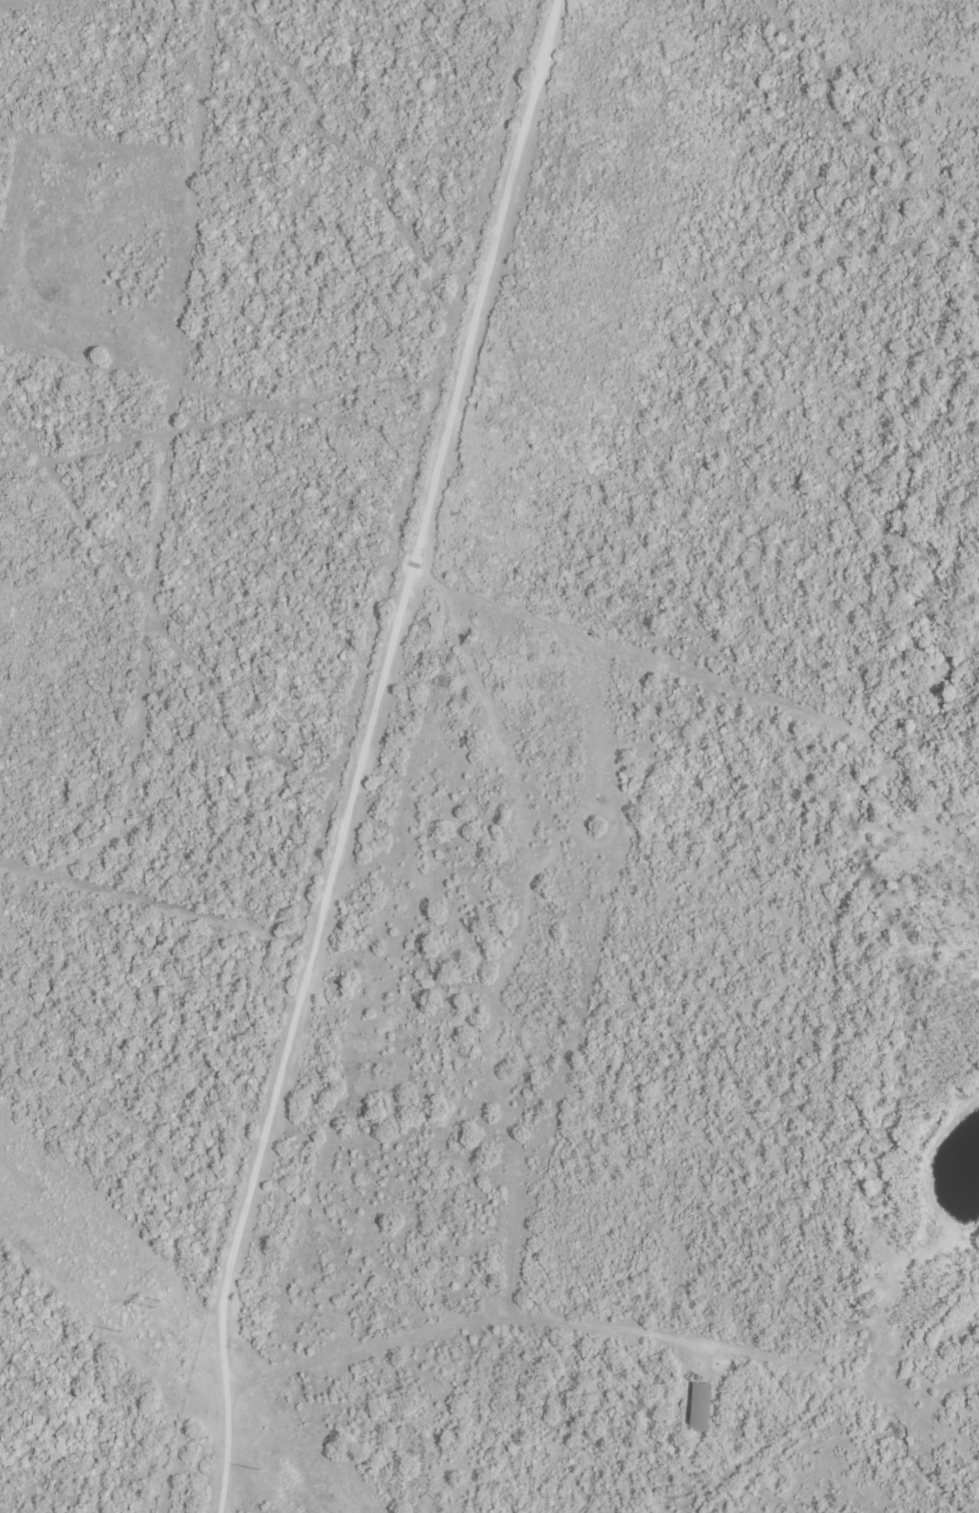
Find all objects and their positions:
power tower: (158, 1302)
power tower: (124, 1334)
building: (703, 1404)
power tower: (262, 1471)

